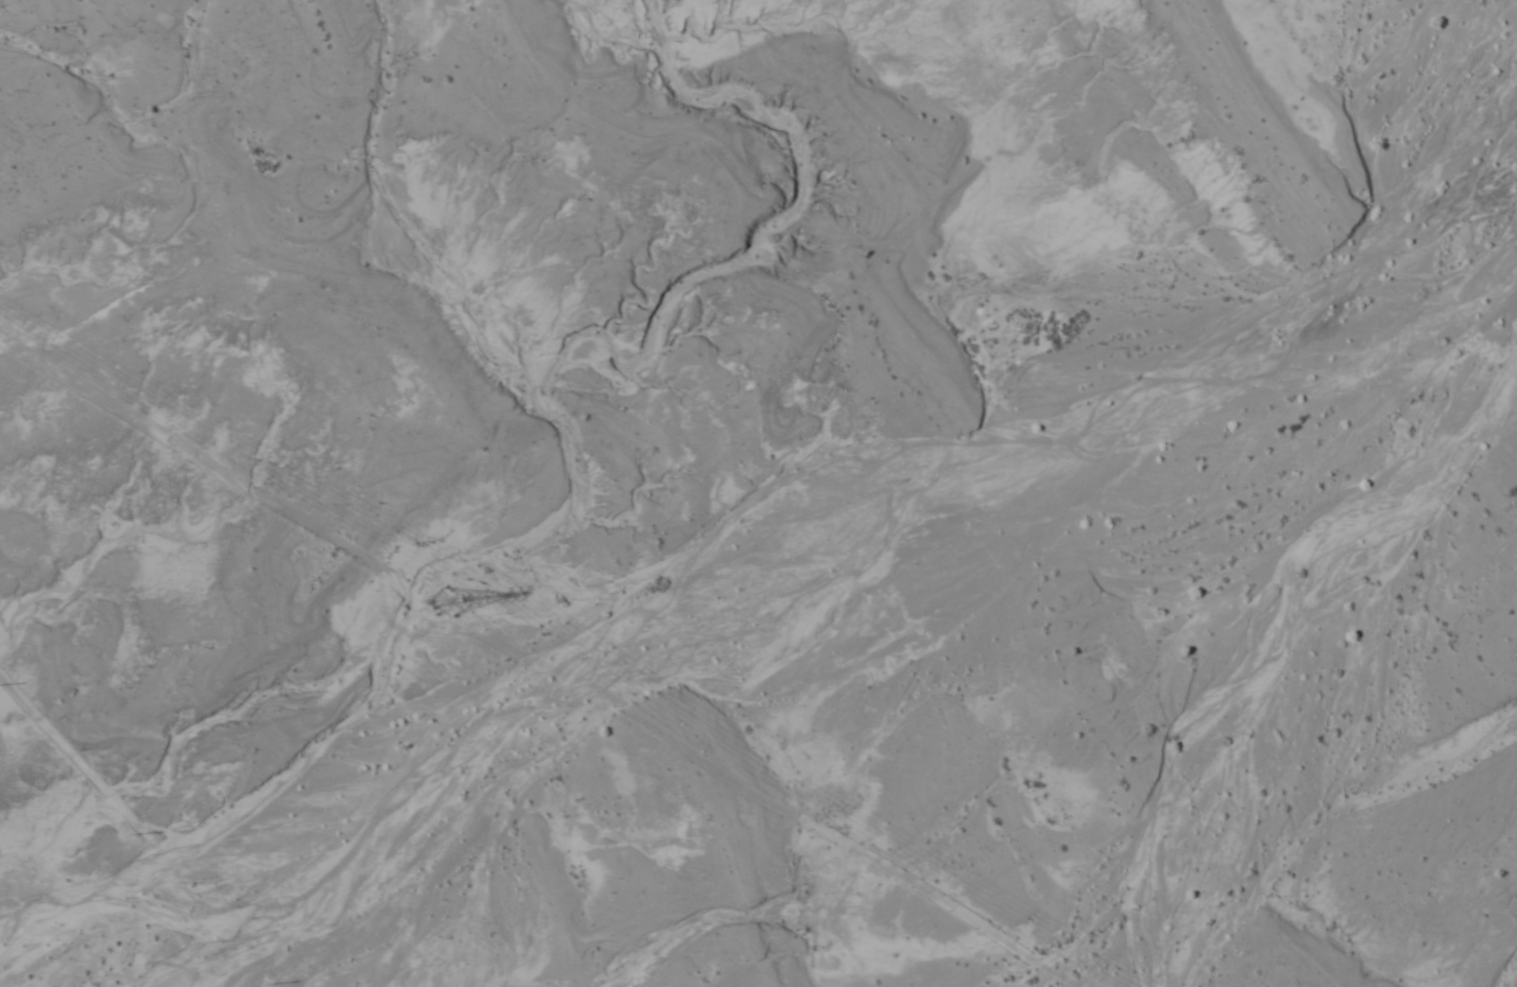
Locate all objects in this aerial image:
power tower: (458, 601)

